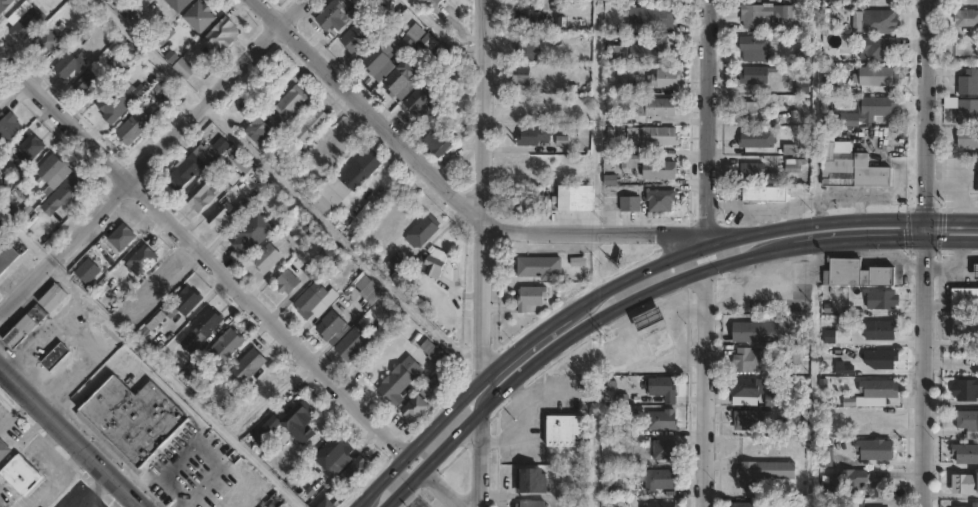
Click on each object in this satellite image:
building: (4, 4)
building: (177, 4)
building: (433, 5)
building: (358, 6)
building: (126, 11)
building: (766, 16)
building: (649, 17)
building: (199, 18)
building: (335, 18)
building: (966, 19)
building: (529, 20)
building: (875, 23)
building: (25, 25)
building: (416, 34)
building: (220, 37)
building: (353, 40)
building: (45, 43)
building: (406, 45)
building: (758, 48)
building: (879, 49)
building: (527, 50)
road: (149, 51)
building: (638, 54)
building: (804, 58)
building: (379, 60)
building: (70, 64)
building: (180, 65)
building: (450, 67)
building: (116, 72)
building: (756, 75)
building: (877, 76)
building: (665, 78)
building: (399, 83)
building: (522, 83)
building: (969, 83)
building: (85, 84)
building: (626, 84)
building: (803, 85)
building: (423, 99)
building: (0, 100)
building: (289, 105)
building: (659, 106)
road: (928, 108)
building: (749, 109)
building: (870, 110)
building: (968, 111)
road: (707, 121)
building: (259, 124)
building: (312, 125)
building: (134, 126)
building: (8, 128)
building: (625, 133)
building: (533, 136)
building: (661, 136)
building: (758, 138)
building: (967, 138)
building: (436, 141)
building: (30, 147)
building: (843, 147)
road: (150, 155)
building: (630, 161)
building: (243, 162)
building: (793, 164)
building: (190, 167)
building: (50, 168)
building: (852, 169)
building: (360, 170)
building: (659, 170)
building: (753, 171)
building: (977, 177)
road: (483, 189)
road: (450, 190)
building: (64, 194)
building: (764, 194)
building: (201, 196)
building: (575, 197)
building: (534, 199)
building: (661, 200)
building: (630, 202)
building: (321, 204)
building: (241, 209)
road: (953, 216)
traffic signals: (928, 217)
building: (220, 218)
road: (816, 219)
road: (928, 227)
building: (422, 231)
building: (253, 232)
building: (121, 237)
road: (882, 238)
traffic signals: (928, 238)
road: (953, 238)
road: (770, 246)
road: (202, 253)
building: (6, 255)
building: (267, 258)
building: (141, 260)
building: (322, 261)
building: (394, 266)
building: (428, 266)
building: (539, 267)
building: (976, 271)
building: (86, 272)
building: (857, 274)
building: (286, 281)
building: (372, 293)
building: (531, 297)
building: (52, 298)
building: (882, 299)
building: (187, 300)
building: (314, 301)
building: (965, 301)
building: (393, 310)
building: (37, 313)
building: (649, 318)
building: (332, 327)
building: (201, 328)
building: (964, 330)
building: (19, 331)
building: (881, 331)
building: (755, 332)
building: (658, 340)
building: (228, 344)
building: (351, 345)
road: (529, 349)
road: (514, 351)
building: (430, 353)
building: (794, 355)
building: (54, 356)
road: (149, 358)
building: (885, 359)
building: (747, 361)
road: (529, 363)
building: (246, 367)
road: (925, 372)
building: (398, 380)
road: (705, 387)
building: (663, 389)
building: (750, 389)
building: (966, 390)
building: (874, 393)
building: (775, 399)
building: (416, 410)
road: (16, 414)
building: (132, 418)
building: (662, 420)
building: (749, 421)
building: (299, 422)
building: (968, 422)
building: (241, 429)
building: (565, 431)
road: (72, 436)
building: (3, 450)
building: (876, 450)
building: (664, 451)
building: (332, 452)
building: (966, 454)
road: (480, 455)
building: (826, 457)
road: (51, 458)
building: (355, 472)
building: (763, 473)
building: (20, 475)
building: (658, 479)
building: (851, 480)
building: (530, 481)
building: (966, 484)
building: (607, 486)
road: (93, 489)
road: (440, 489)
building: (576, 502)
building: (326, 504)
building: (531, 504)
building: (662, 505)
building: (744, 505)
building: (976, 505)
building: (265, 506)

